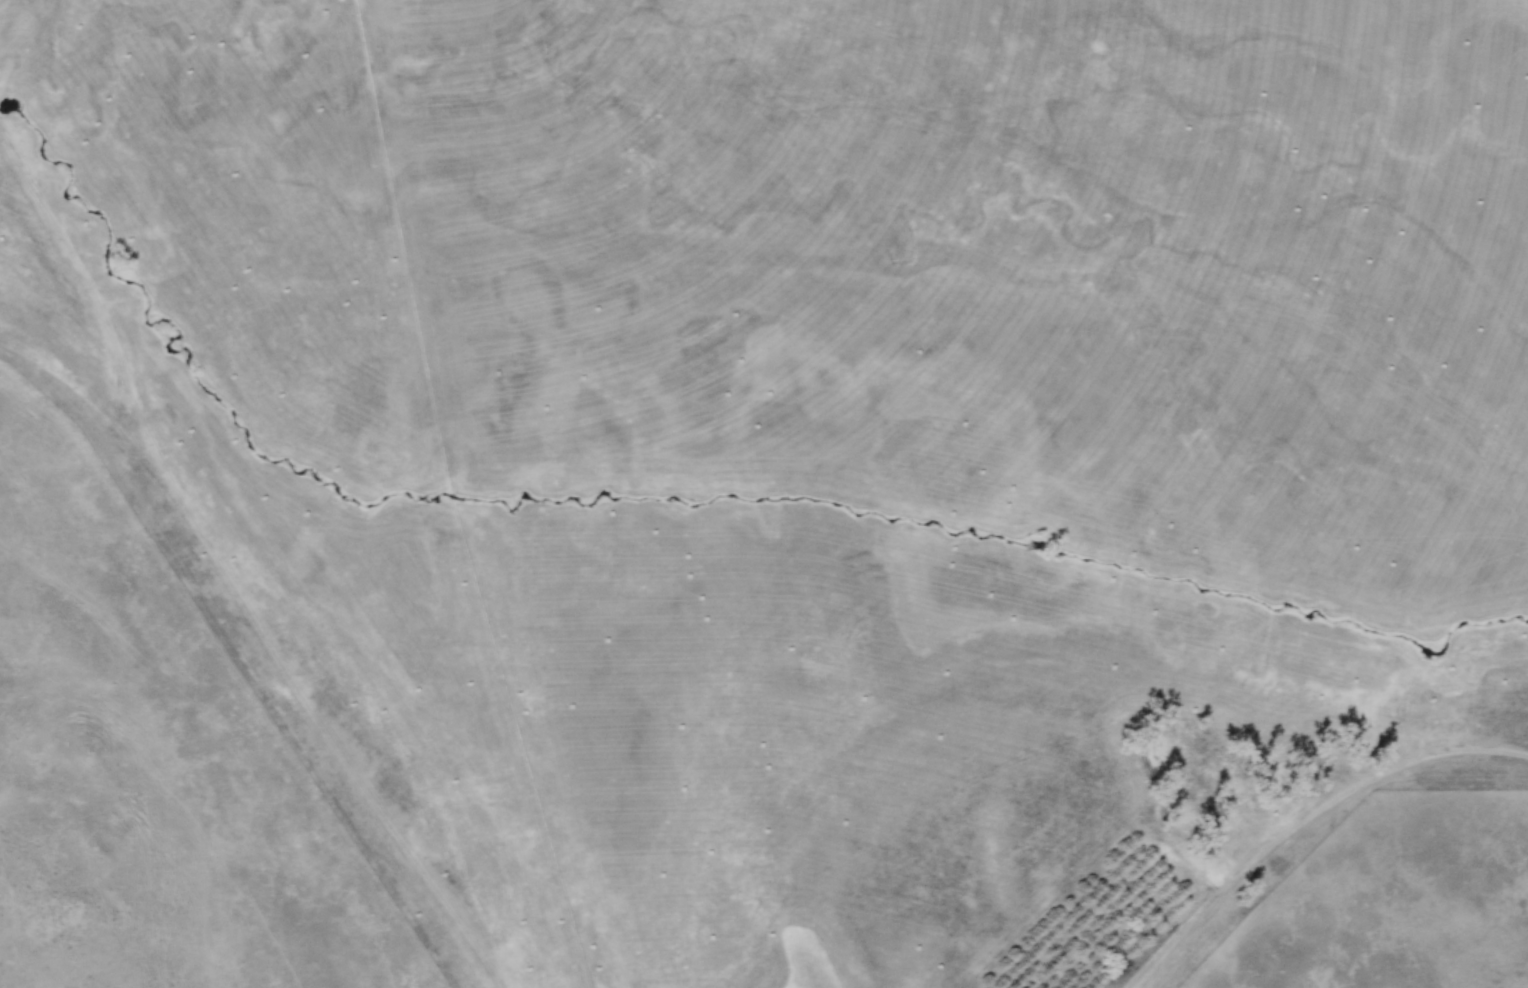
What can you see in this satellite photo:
road: (1308, 819)

